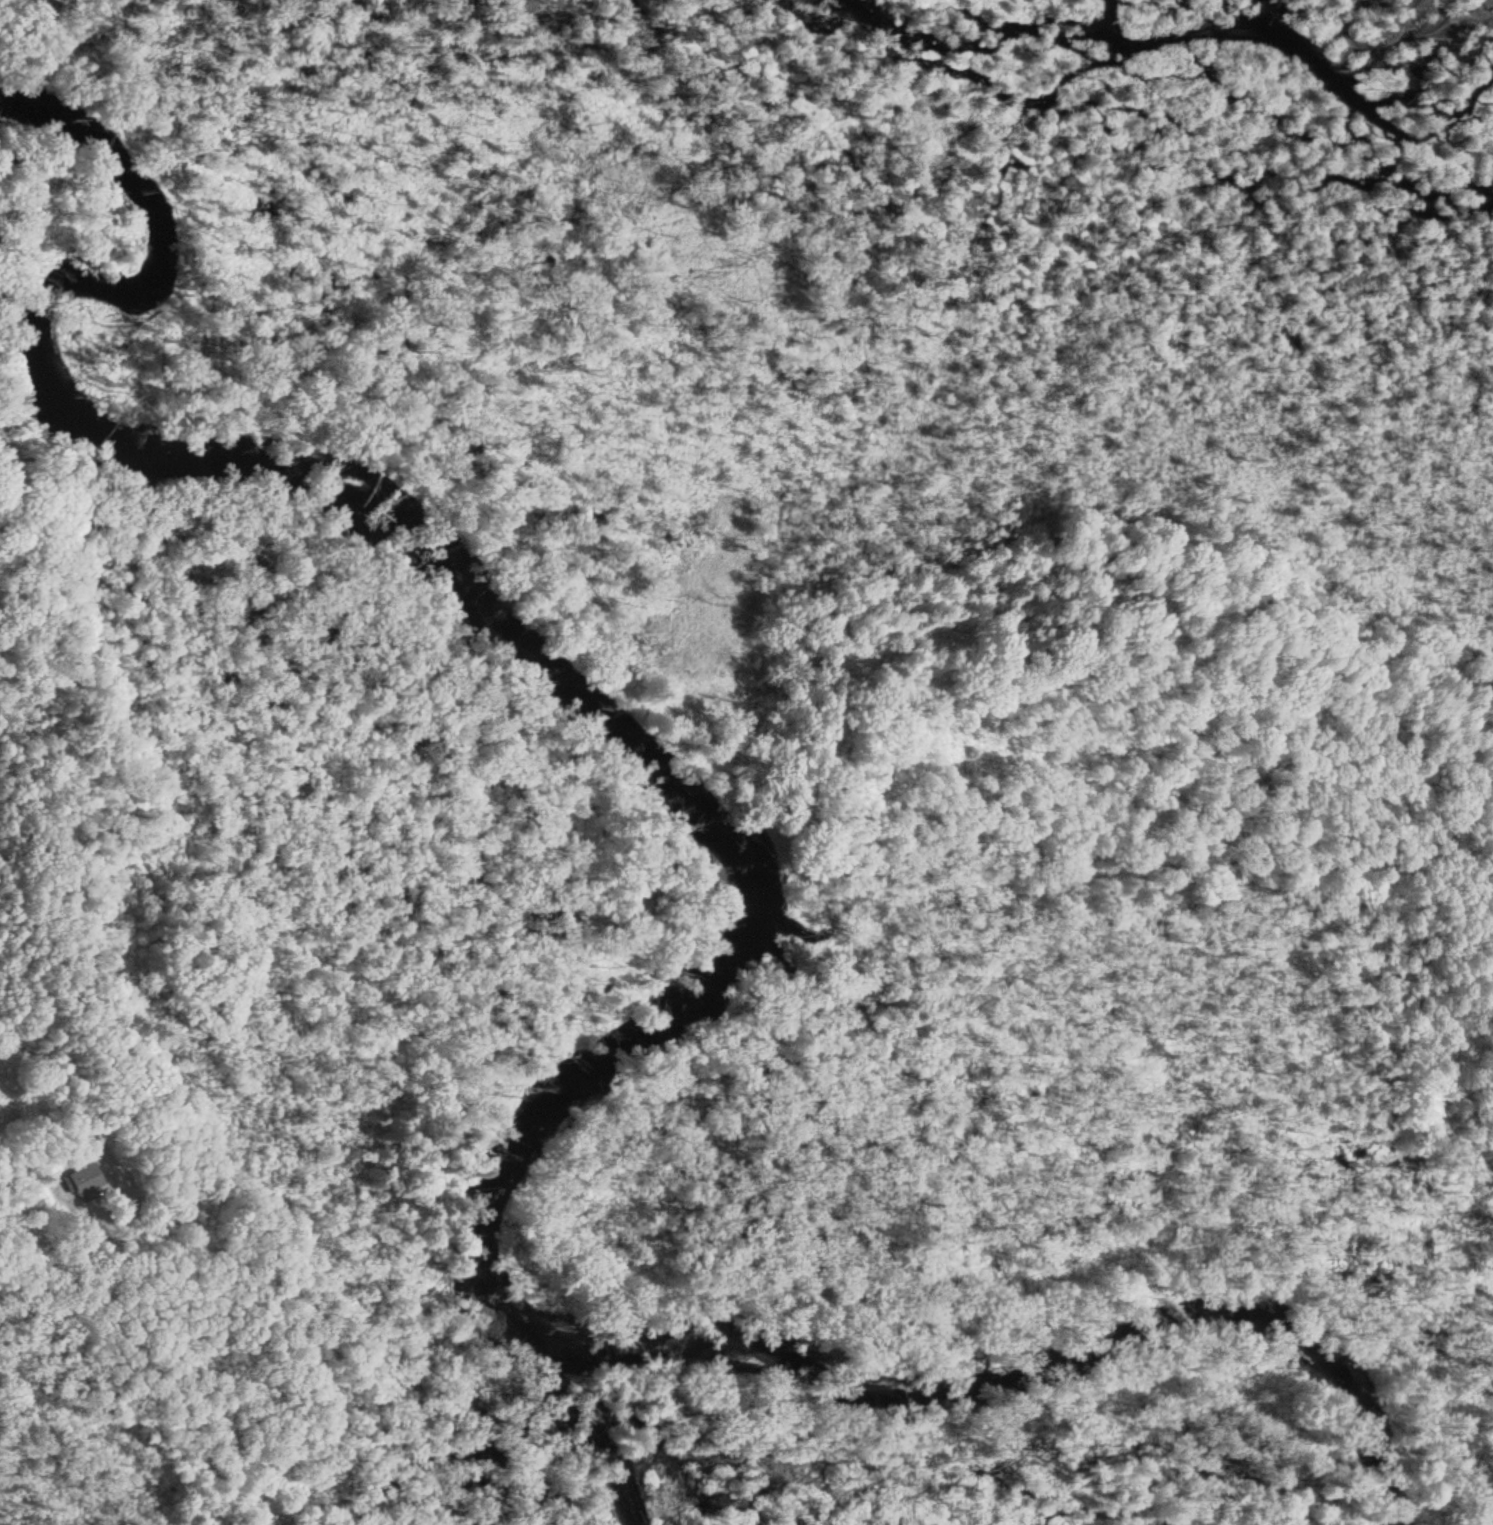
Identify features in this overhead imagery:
river: (626, 1029)
building: (76, 1175)

